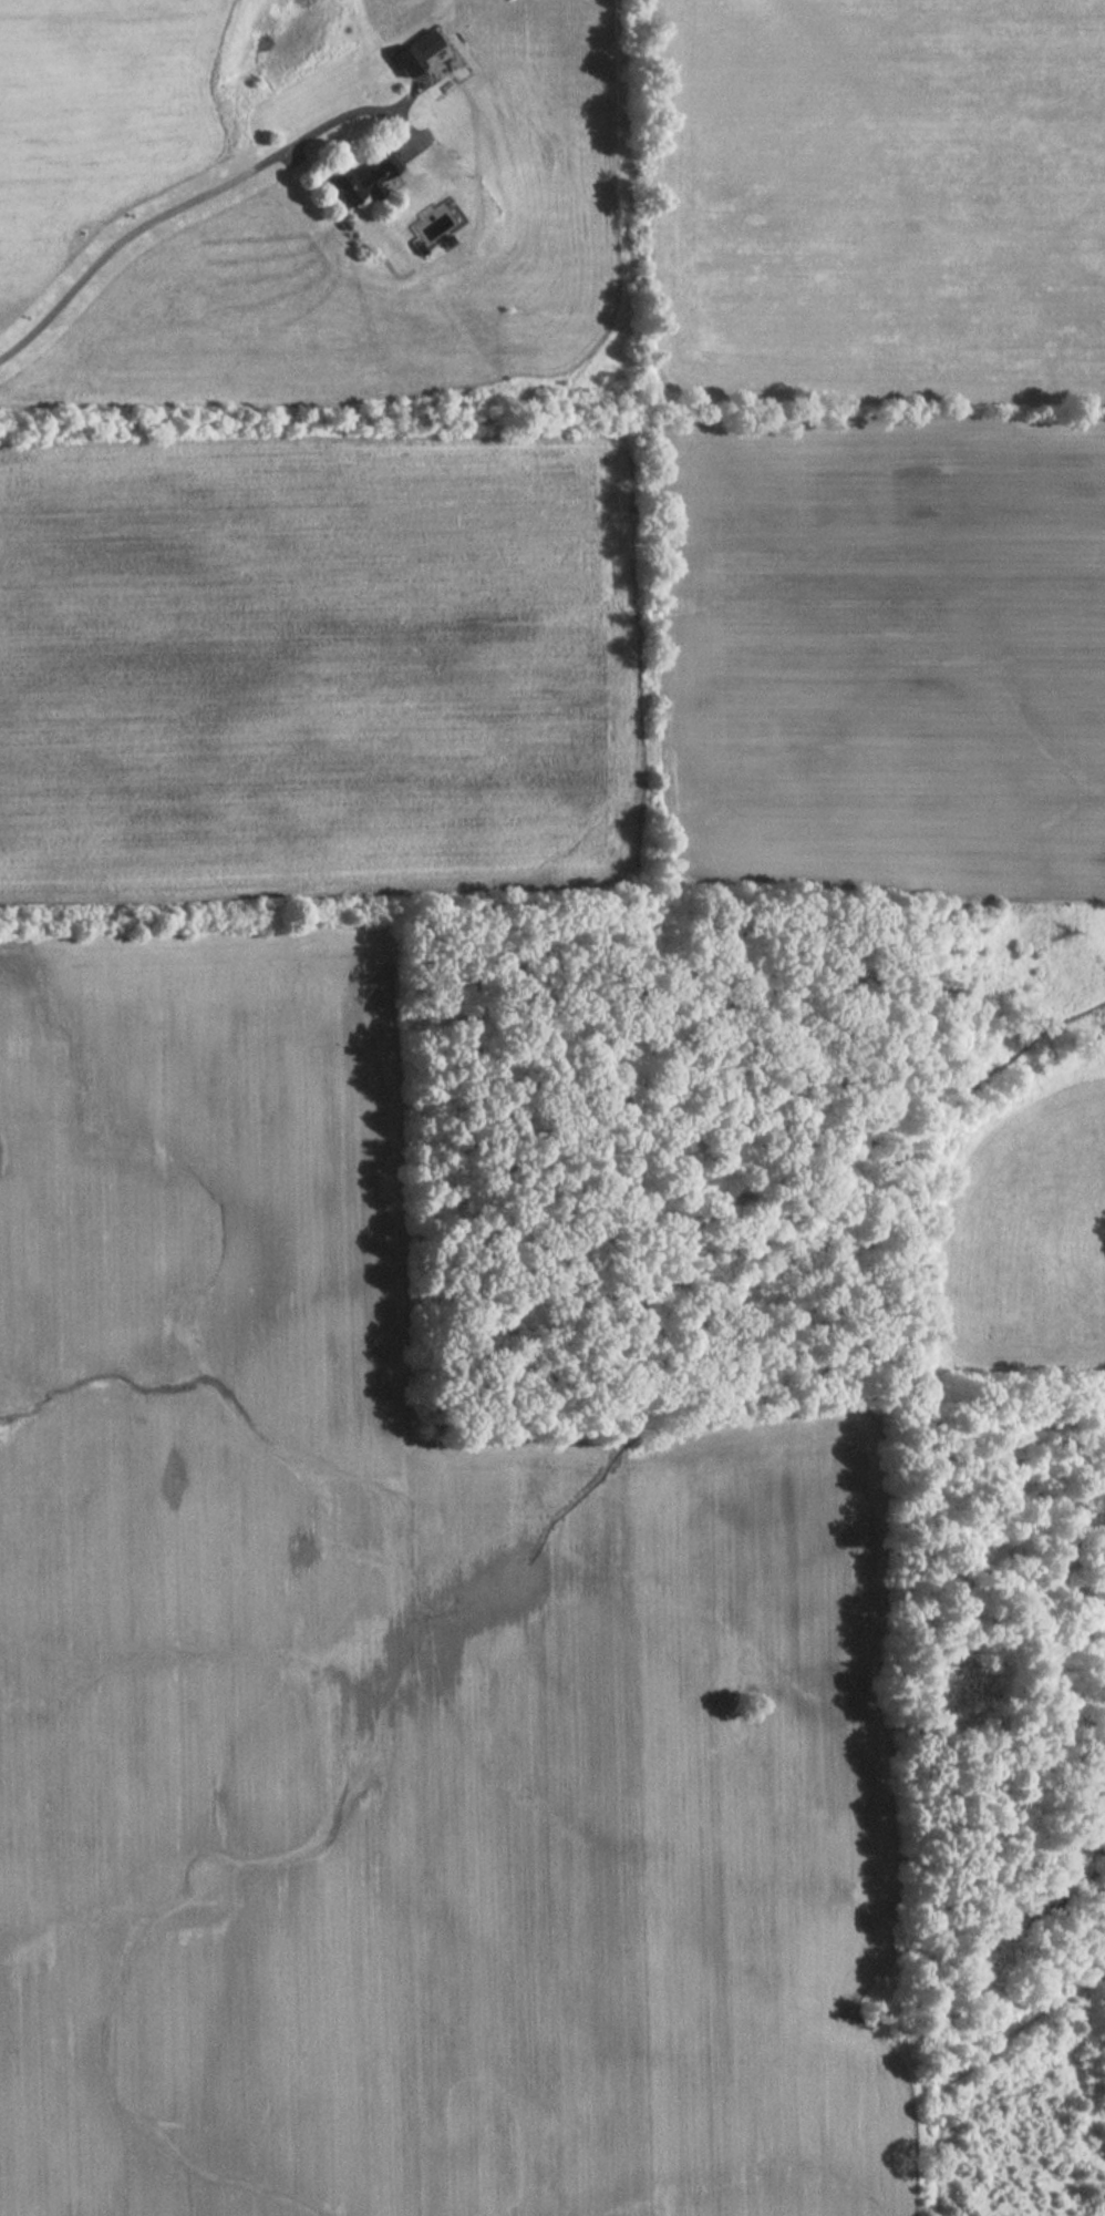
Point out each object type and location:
building: (419, 52)
building: (363, 178)
road: (183, 203)

